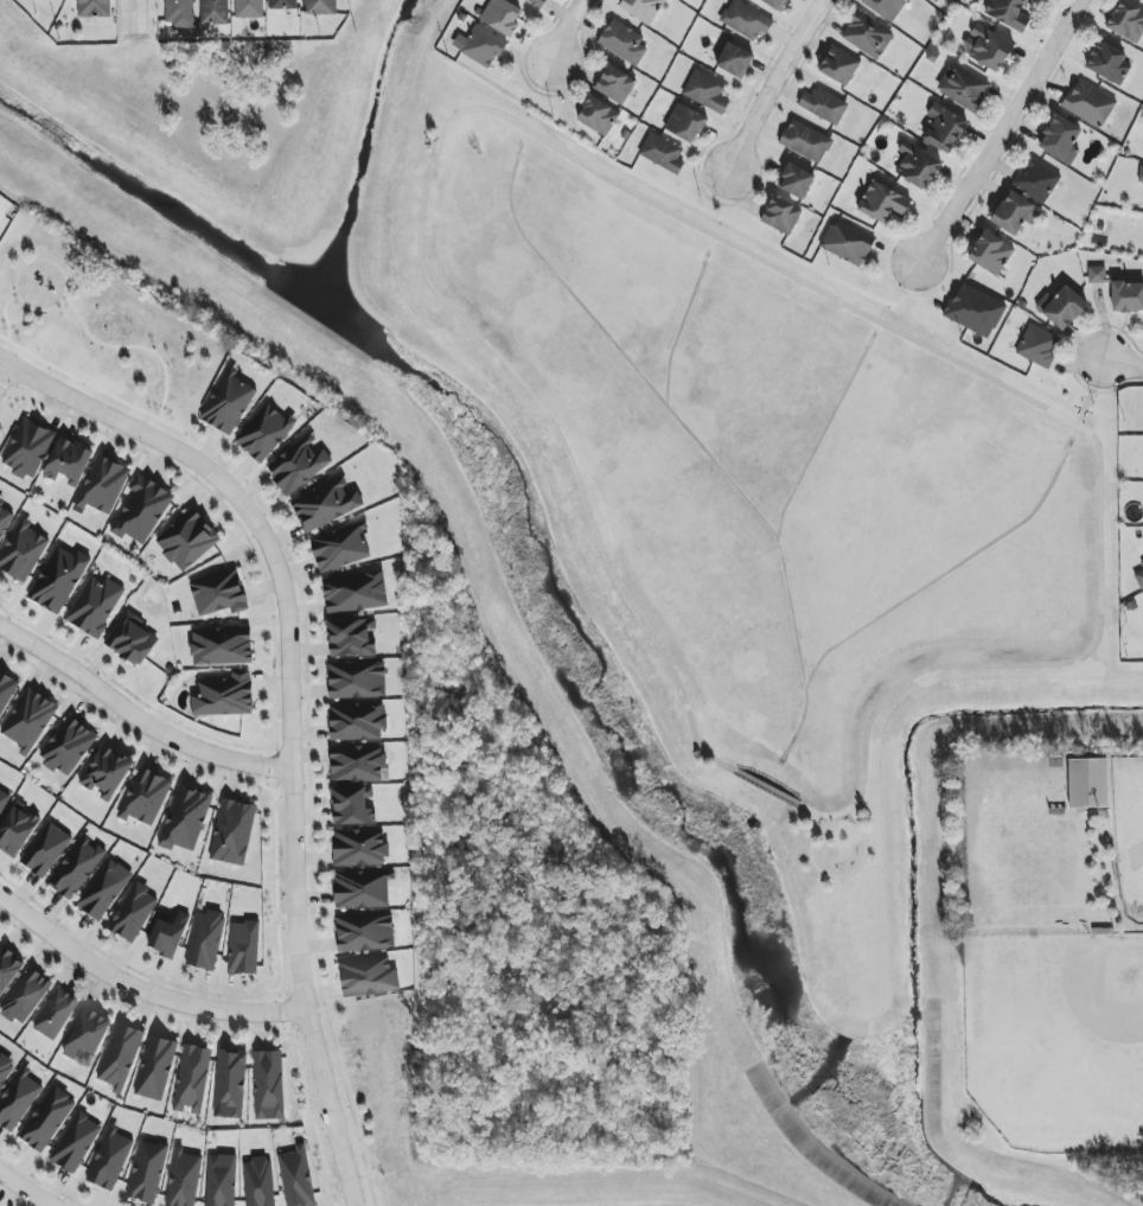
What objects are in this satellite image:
building: (937, 0)
building: (539, 2)
building: (775, 4)
building: (282, 5)
building: (320, 7)
building: (886, 7)
building: (94, 8)
building: (249, 8)
building: (643, 8)
building: (215, 12)
building: (180, 13)
building: (1008, 13)
building: (502, 17)
road: (136, 18)
building: (746, 19)
building: (1126, 21)
road: (569, 31)
building: (868, 34)
building: (624, 43)
building: (479, 46)
building: (988, 47)
building: (734, 60)
building: (1107, 63)
building: (839, 65)
road: (773, 81)
building: (615, 84)
building: (963, 87)
building: (705, 91)
building: (1090, 103)
building: (823, 106)
building: (598, 115)
building: (685, 123)
building: (944, 128)
road: (1001, 132)
building: (1061, 140)
road: (439, 141)
building: (805, 141)
building: (662, 153)
building: (917, 165)
building: (1141, 174)
building: (796, 180)
building: (1037, 180)
building: (882, 202)
building: (1015, 212)
building: (781, 215)
building: (848, 243)
building: (991, 253)
building: (1097, 275)
building: (1128, 296)
building: (1061, 307)
building: (975, 311)
park: (101, 330)
building: (1037, 346)
road: (1, 362)
road: (1122, 365)
road: (1090, 393)
building: (229, 404)
building: (264, 433)
building: (28, 452)
building: (68, 461)
building: (299, 465)
building: (103, 485)
building: (325, 504)
building: (141, 511)
building: (4, 518)
building: (187, 541)
building: (340, 549)
building: (21, 551)
building: (58, 579)
building: (1139, 579)
building: (218, 593)
building: (356, 593)
building: (95, 606)
building: (351, 638)
building: (130, 639)
building: (222, 647)
road: (1015, 665)
building: (357, 679)
building: (6, 690)
building: (224, 696)
road: (290, 709)
road: (135, 719)
building: (28, 720)
building: (357, 721)
building: (68, 747)
building: (358, 764)
building: (106, 772)
building: (1087, 783)
road: (766, 789)
building: (146, 797)
building: (2, 799)
building: (352, 806)
building: (185, 819)
building: (17, 830)
building: (234, 832)
building: (359, 848)
building: (46, 850)
building: (77, 868)
road: (838, 876)
building: (103, 889)
building: (363, 892)
building: (134, 913)
building: (168, 934)
building: (365, 934)
building: (205, 940)
building: (243, 947)
building: (8, 968)
building: (369, 976)
road: (141, 989)
building: (25, 996)
building: (55, 1014)
building: (88, 1034)
building: (120, 1057)
building: (5, 1068)
building: (155, 1068)
building: (192, 1079)
building: (230, 1084)
building: (268, 1085)
building: (18, 1099)
building: (47, 1119)
building: (76, 1143)
building: (110, 1160)
building: (147, 1172)
building: (296, 1178)
building: (184, 1180)
building: (221, 1180)
building: (260, 1182)
road: (30, 1188)

